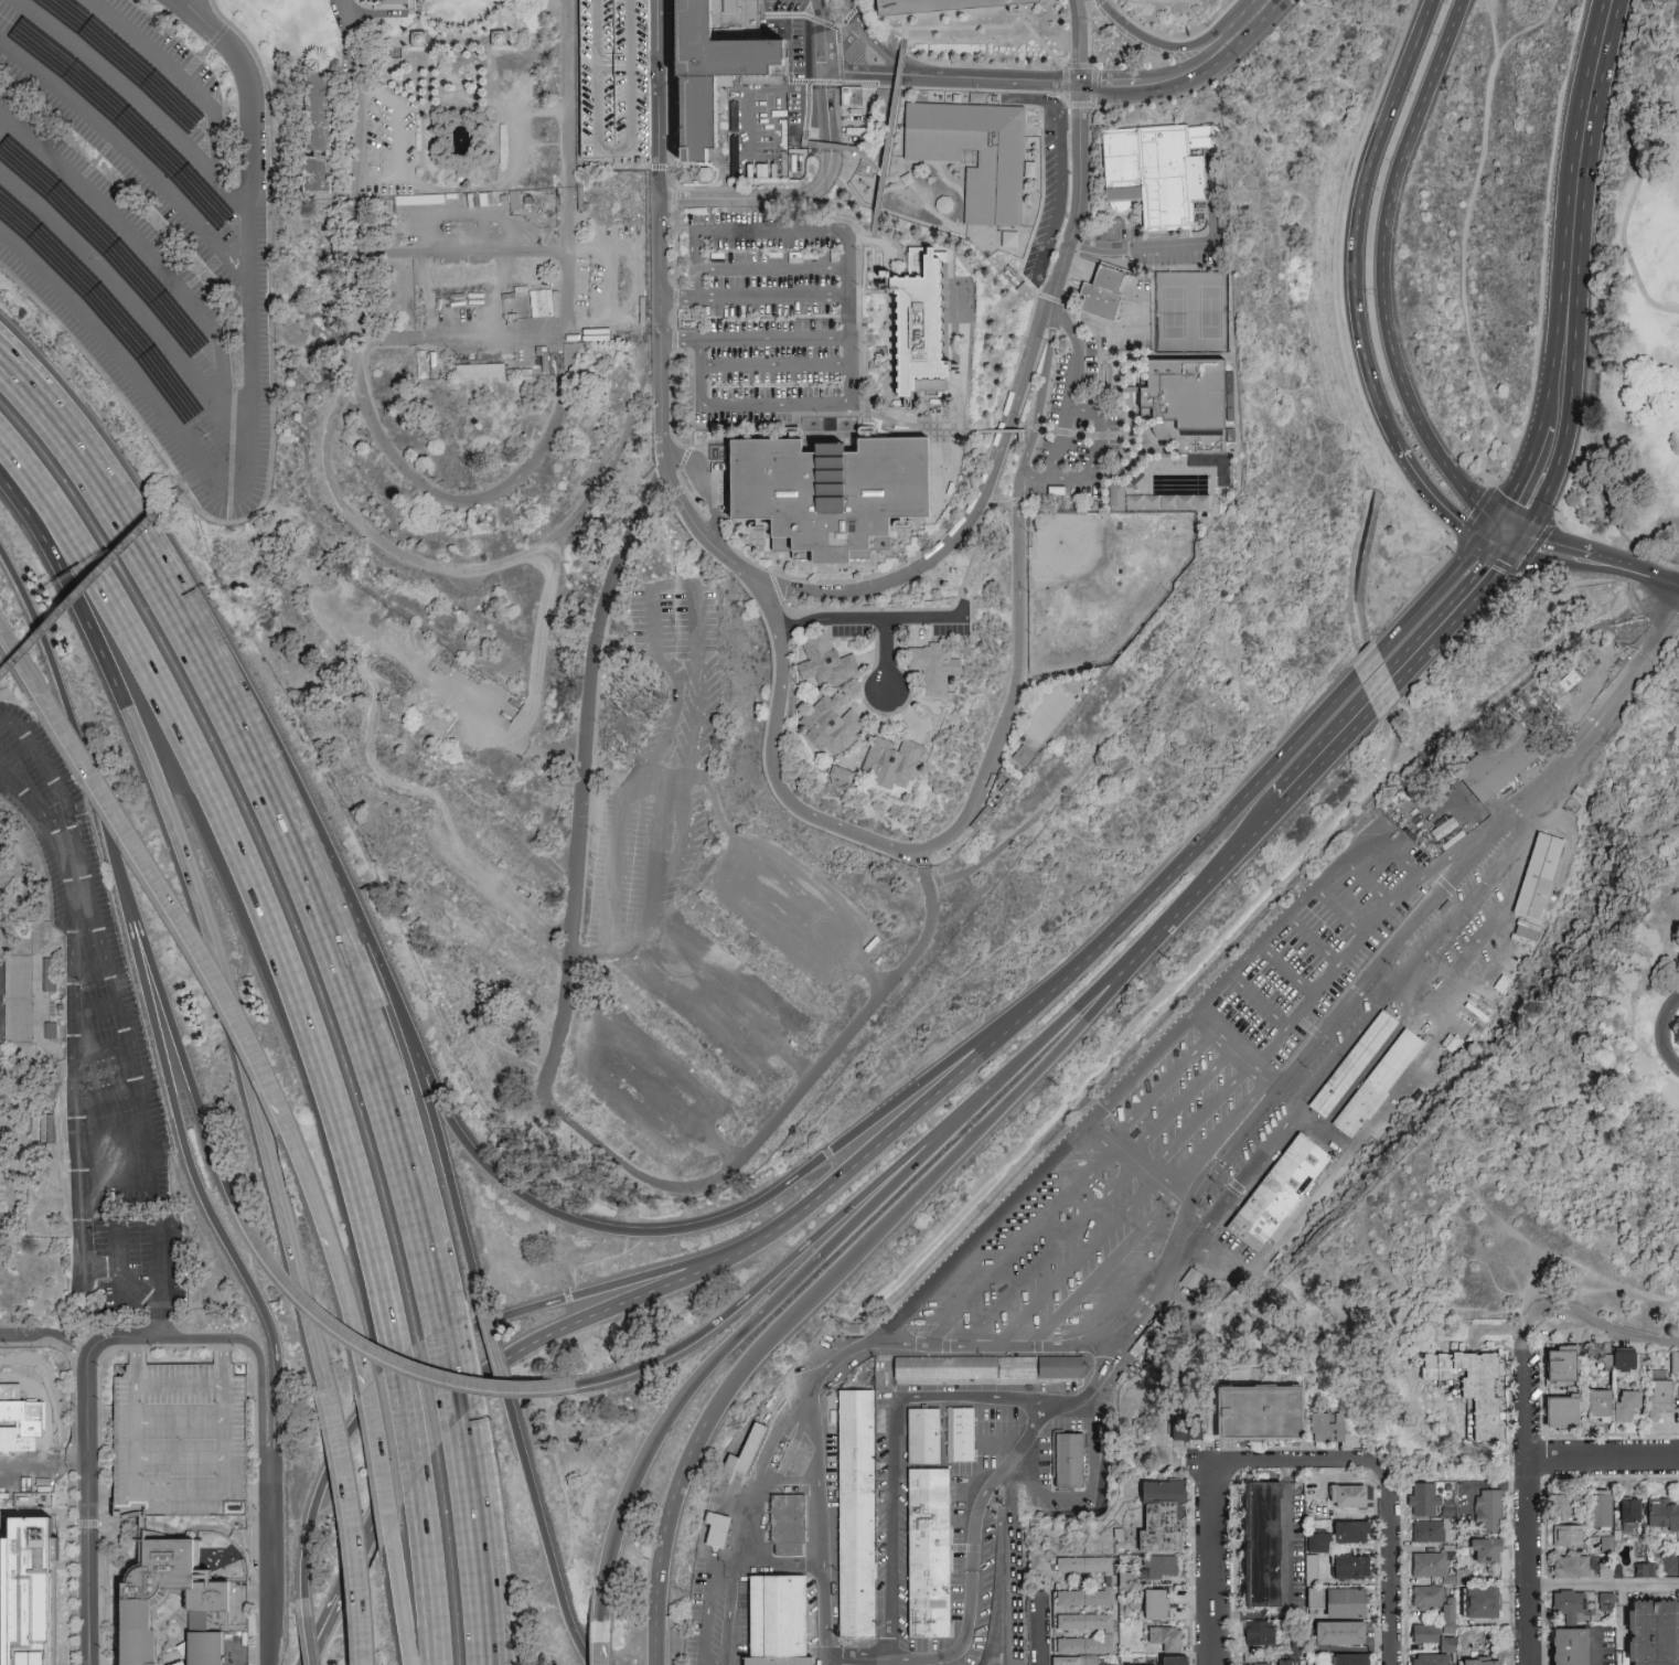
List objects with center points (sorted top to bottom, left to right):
road: (978, 2)
road: (940, 3)
road: (954, 6)
road: (393, 7)
building: (945, 7)
parking lot: (945, 7)
road: (192, 9)
road: (202, 9)
road: (1494, 19)
road: (504, 23)
road: (426, 24)
road: (903, 25)
road: (464, 26)
road: (824, 35)
road: (426, 42)
road: (875, 43)
road: (1164, 45)
road: (843, 50)
building: (714, 70)
road: (1186, 73)
road: (437, 75)
road: (488, 75)
road: (952, 76)
road: (125, 83)
building: (612, 85)
parking lot: (612, 85)
road: (567, 93)
road: (205, 95)
building: (847, 95)
road: (353, 97)
building: (975, 97)
road: (656, 99)
road: (454, 108)
building: (323, 135)
road: (887, 146)
road: (846, 152)
road: (1079, 152)
road: (136, 153)
road: (614, 153)
building: (999, 167)
building: (1028, 169)
building: (1162, 174)
road: (486, 184)
road: (799, 195)
road: (1629, 209)
road: (1357, 216)
parking lot: (127, 218)
road: (258, 226)
road: (1544, 228)
building: (728, 230)
road: (731, 235)
road: (851, 237)
building: (1006, 238)
road: (1138, 246)
road: (1467, 254)
road: (460, 256)
road: (571, 258)
road: (772, 267)
road: (350, 269)
road: (1574, 269)
road: (1380, 277)
building: (1101, 296)
road: (756, 299)
park: (1638, 317)
parking lot: (773, 321)
building: (920, 333)
road: (109, 338)
road: (461, 338)
road: (756, 340)
road: (779, 365)
building: (475, 370)
road: (225, 384)
road: (1069, 393)
road: (836, 403)
building: (1188, 407)
road: (661, 410)
road: (71, 415)
road: (242, 435)
road: (271, 437)
road: (64, 441)
road: (1093, 461)
road: (1507, 462)
road: (188, 480)
building: (828, 494)
road: (233, 497)
road: (1441, 501)
road: (469, 504)
traffic signals: (1521, 509)
road: (967, 516)
traffic signals: (1462, 521)
traffic signals: (1542, 552)
road: (1591, 563)
traffic signals: (1489, 568)
road: (482, 572)
road: (1579, 573)
road: (90, 583)
road: (177, 615)
park: (944, 620)
road: (870, 622)
road: (885, 657)
road: (22, 659)
building: (826, 664)
building: (932, 669)
road: (1401, 671)
road: (535, 685)
building: (833, 726)
road: (71, 728)
building: (892, 760)
road: (1274, 765)
road: (987, 770)
building: (842, 776)
road: (52, 780)
road: (660, 802)
road: (47, 834)
road: (324, 861)
road: (249, 866)
building: (1533, 875)
road: (1208, 878)
road: (1367, 882)
road: (171, 899)
road: (1337, 912)
road: (207, 920)
building: (1526, 929)
road: (1264, 938)
road: (1313, 940)
building: (1453, 949)
road: (1381, 959)
road: (87, 968)
road: (1122, 969)
road: (1286, 970)
road: (1335, 970)
building: (51, 972)
road: (72, 979)
road: (1259, 1001)
road: (351, 1007)
road: (93, 1008)
building: (52, 1028)
road: (1665, 1033)
road: (122, 1043)
road: (98, 1049)
road: (411, 1049)
road: (1237, 1049)
road: (184, 1053)
parking lot: (99, 1057)
building: (1351, 1063)
road: (550, 1072)
road: (935, 1075)
building: (1378, 1084)
road: (948, 1087)
road: (1159, 1087)
road: (105, 1092)
road: (1178, 1102)
road: (1197, 1117)
road: (1216, 1132)
road: (111, 1136)
road: (838, 1159)
road: (1136, 1166)
road: (445, 1167)
road: (116, 1182)
building: (1277, 1193)
road: (79, 1203)
road: (215, 1215)
road: (785, 1221)
road: (607, 1227)
road: (982, 1232)
road: (334, 1244)
road: (1018, 1245)
road: (115, 1247)
road: (1047, 1255)
road: (163, 1259)
road: (1076, 1263)
road: (1099, 1270)
road: (640, 1277)
road: (793, 1277)
road: (770, 1278)
building: (1187, 1278)
road: (1595, 1291)
road: (645, 1292)
road: (822, 1293)
road: (573, 1310)
road: (164, 1316)
road: (1594, 1322)
road: (45, 1332)
road: (122, 1335)
road: (1502, 1335)
road: (492, 1336)
road: (201, 1338)
road: (378, 1349)
road: (138, 1351)
building: (1625, 1359)
building: (1675, 1360)
building: (1562, 1364)
building: (990, 1369)
road: (451, 1374)
road: (820, 1377)
road: (181, 1381)
building: (1471, 1386)
building: (1677, 1392)
road: (374, 1396)
building: (1659, 1398)
building: (1626, 1405)
building: (1600, 1407)
road: (36, 1408)
building: (1563, 1412)
road: (98, 1413)
road: (99, 1415)
building: (1260, 1415)
road: (180, 1419)
road: (407, 1419)
road: (265, 1426)
building: (1180, 1428)
building: (1328, 1429)
building: (9, 1431)
road: (438, 1431)
building: (959, 1434)
building: (924, 1437)
parking lot: (28, 1440)
building: (179, 1441)
parking lot: (179, 1441)
road: (466, 1452)
building: (746, 1452)
road: (891, 1452)
road: (1603, 1458)
road: (379, 1459)
road: (180, 1460)
building: (1069, 1461)
road: (1302, 1462)
road: (39, 1466)
road: (1458, 1470)
road: (760, 1472)
road: (192, 1495)
building: (1349, 1497)
road: (100, 1498)
building: (1424, 1499)
road: (1528, 1499)
building: (1563, 1505)
road: (87, 1507)
building: (1601, 1509)
building: (1488, 1511)
road: (977, 1513)
building: (855, 1515)
building: (1630, 1516)
building: (1664, 1516)
building: (1162, 1517)
building: (787, 1525)
road: (350, 1526)
building: (717, 1529)
building: (1352, 1533)
building: (1429, 1533)
building: (1568, 1536)
road: (546, 1541)
building: (1314, 1541)
building: (1263, 1545)
building: (1486, 1551)
building: (927, 1552)
building: (7, 1558)
road: (1391, 1562)
road: (1215, 1563)
building: (1430, 1565)
road: (491, 1566)
building: (1669, 1566)
road: (477, 1567)
building: (1572, 1567)
building: (1351, 1568)
building: (1677, 1568)
building: (1162, 1569)
building: (1637, 1569)
road: (1287, 1575)
road: (427, 1581)
building: (1109, 1582)
building: (1315, 1582)
road: (1603, 1586)
building: (43, 1587)
road: (275, 1595)
building: (1605, 1600)
road: (403, 1601)
building: (1484, 1602)
building: (1435, 1603)
building: (1157, 1604)
building: (1347, 1604)
building: (1571, 1605)
building: (212, 1611)
road: (712, 1618)
road: (254, 1621)
building: (779, 1621)
road: (319, 1624)
road: (329, 1626)
road: (1039, 1631)
road: (307, 1633)
building: (1260, 1633)
building: (1340, 1633)
building: (1656, 1634)
building: (1108, 1635)
building: (1431, 1636)
building: (1167, 1639)
building: (1570, 1647)
road: (601, 1655)
building: (1350, 1659)
building: (1432, 1659)
building: (1177, 1661)
building: (1074, 1662)
building: (1288, 1662)
building: (845, 1663)
building: (1480, 1663)
building: (1255, 1664)

